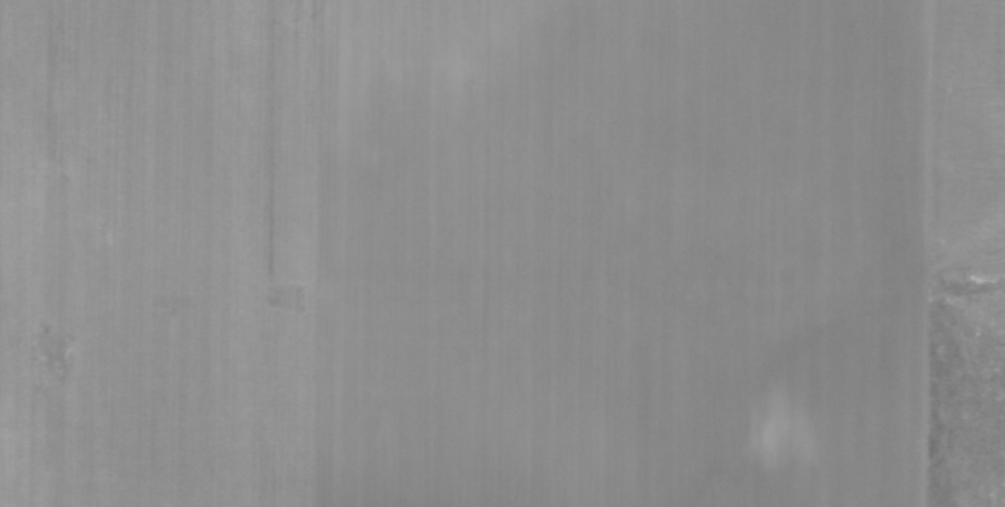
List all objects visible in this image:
crop: (484, 248)

